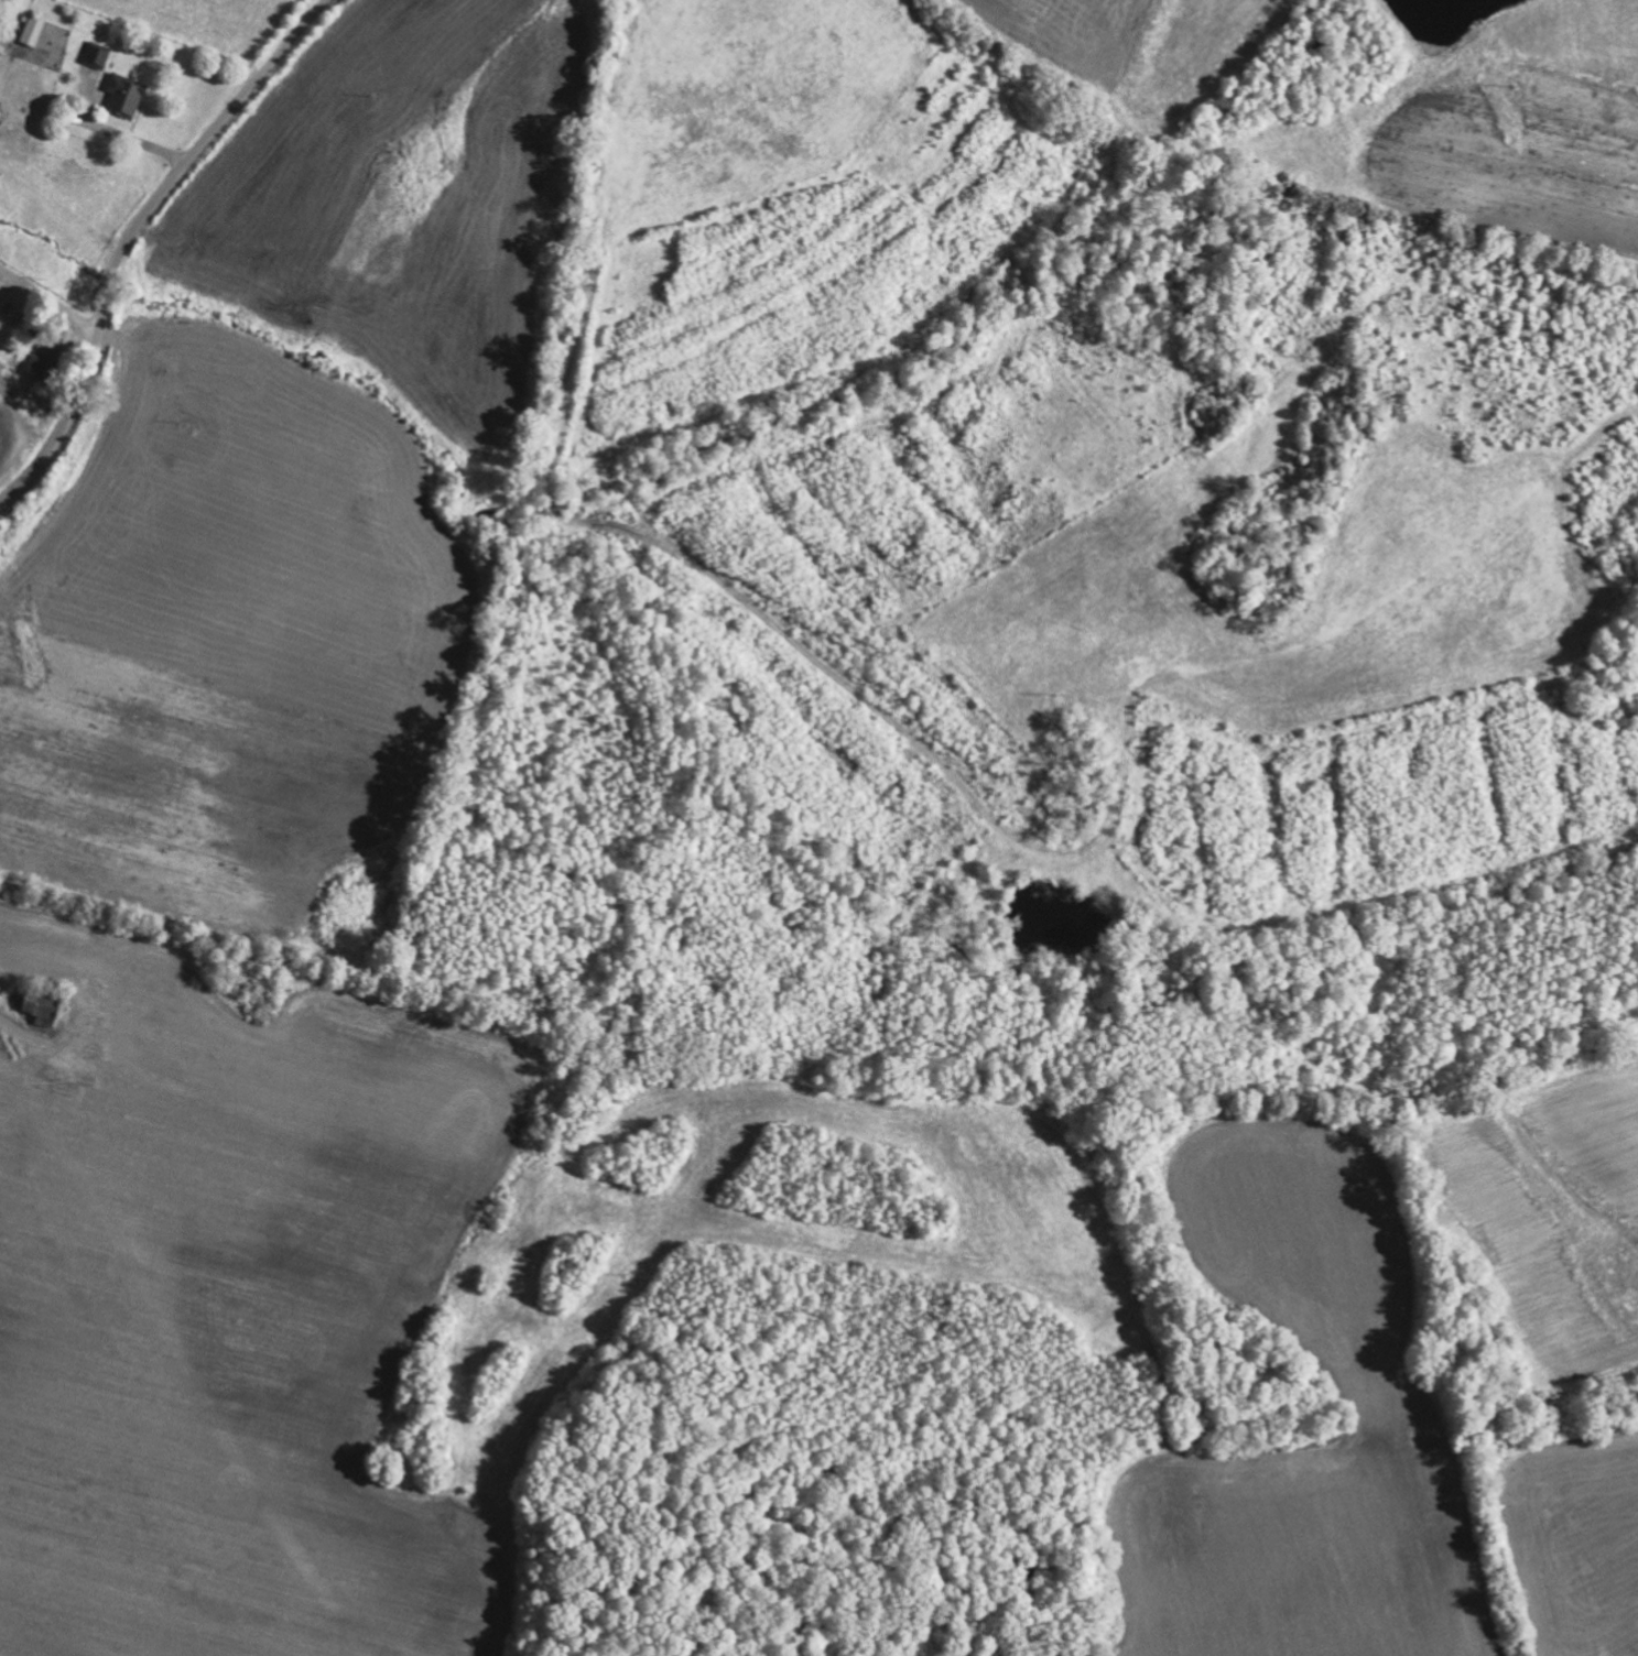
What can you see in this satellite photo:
building: (33, 30)
building: (97, 55)
building: (126, 95)
road: (132, 235)
building: (40, 1007)

